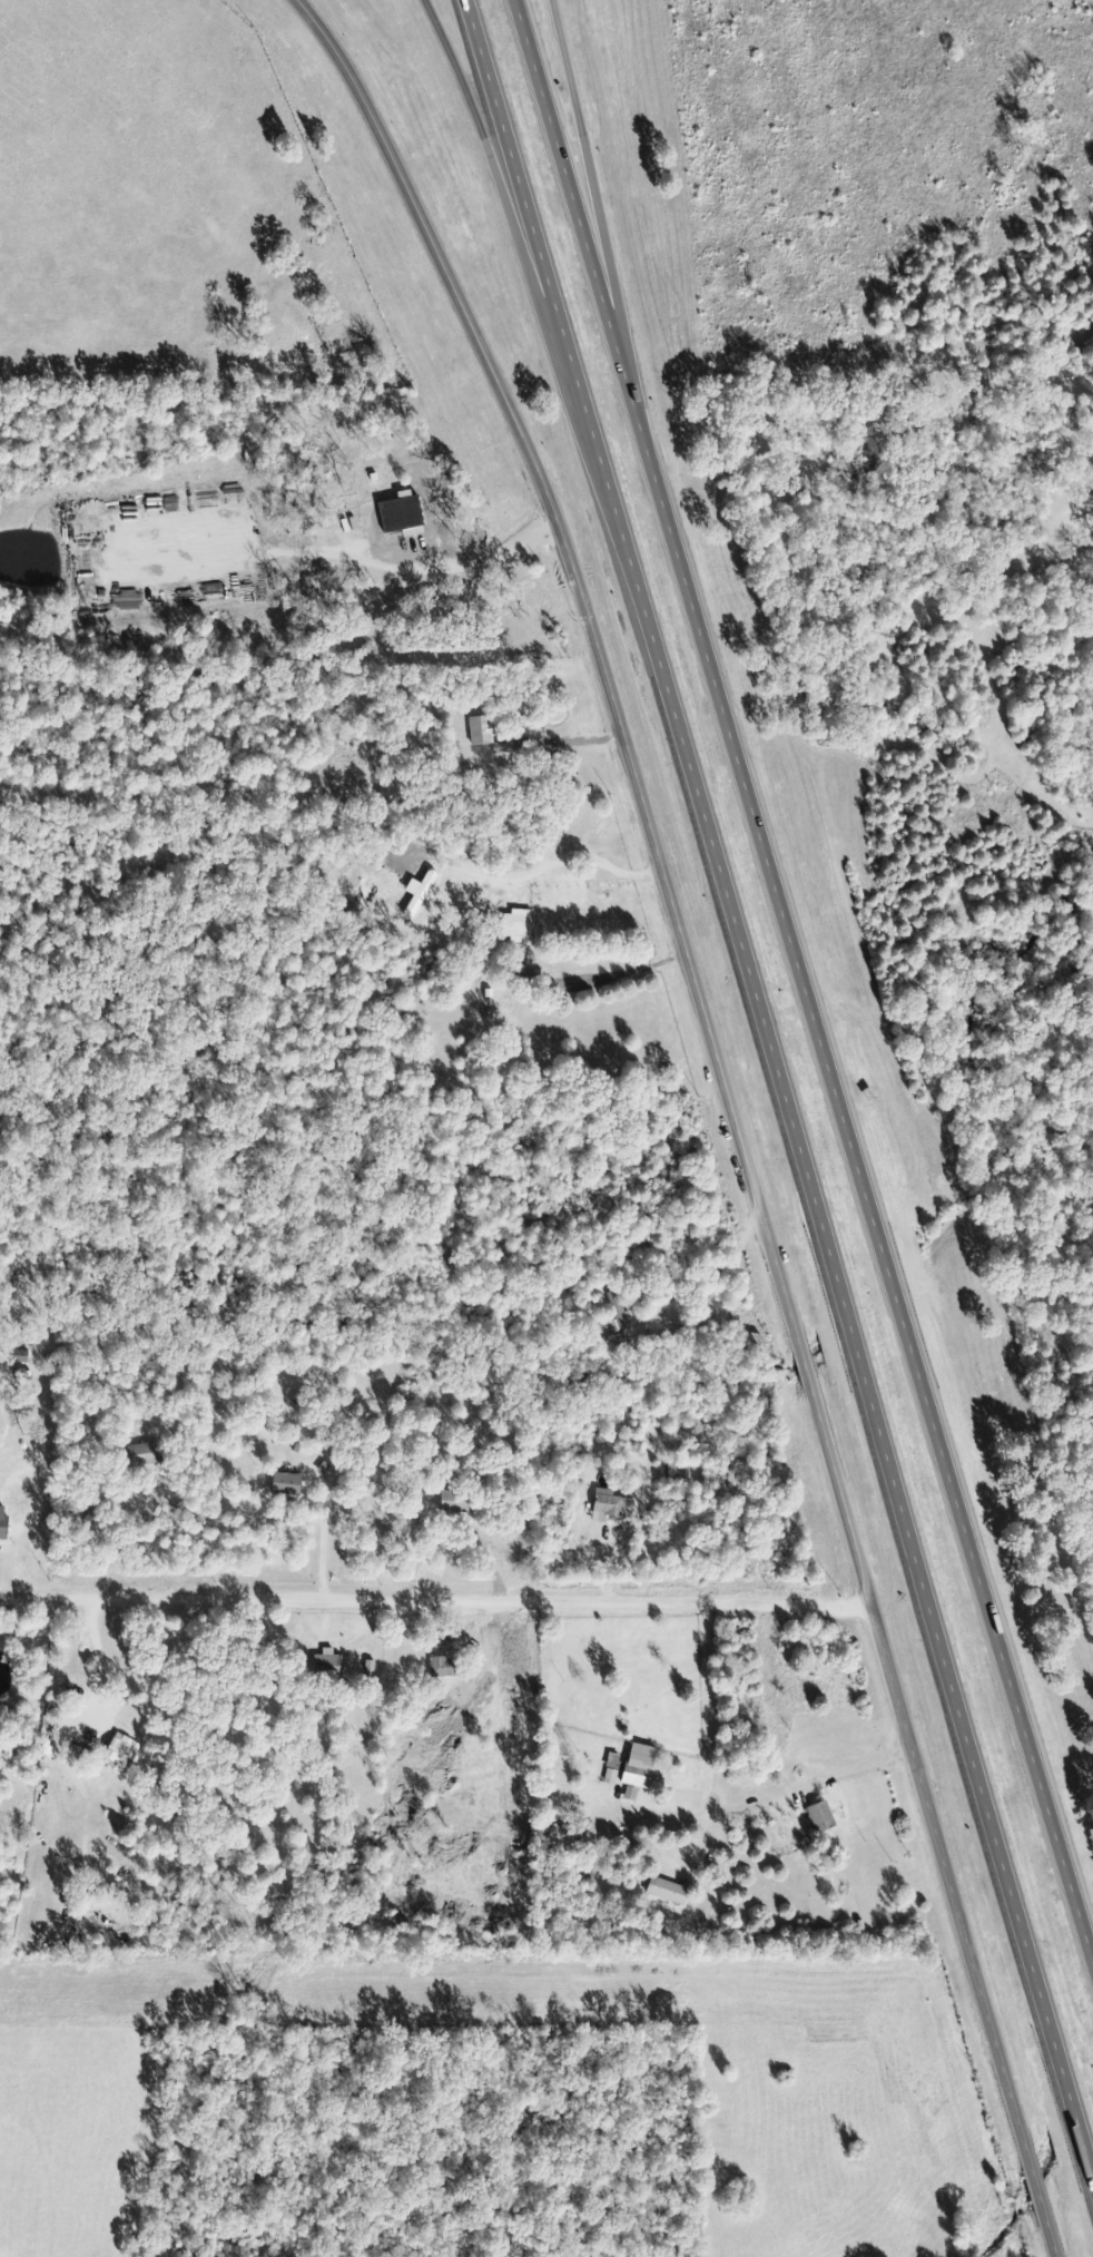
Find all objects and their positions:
road: (573, 206)
road: (598, 206)
road: (571, 425)
building: (398, 513)
building: (477, 732)
building: (514, 926)
road: (778, 1093)
road: (725, 1108)
road: (861, 1189)
building: (619, 1312)
building: (139, 1455)
building: (284, 1484)
building: (611, 1505)
building: (1, 1522)
road: (434, 1599)
building: (328, 1664)
building: (118, 1753)
building: (636, 1766)
building: (611, 1770)
building: (819, 1817)
building: (664, 1891)

